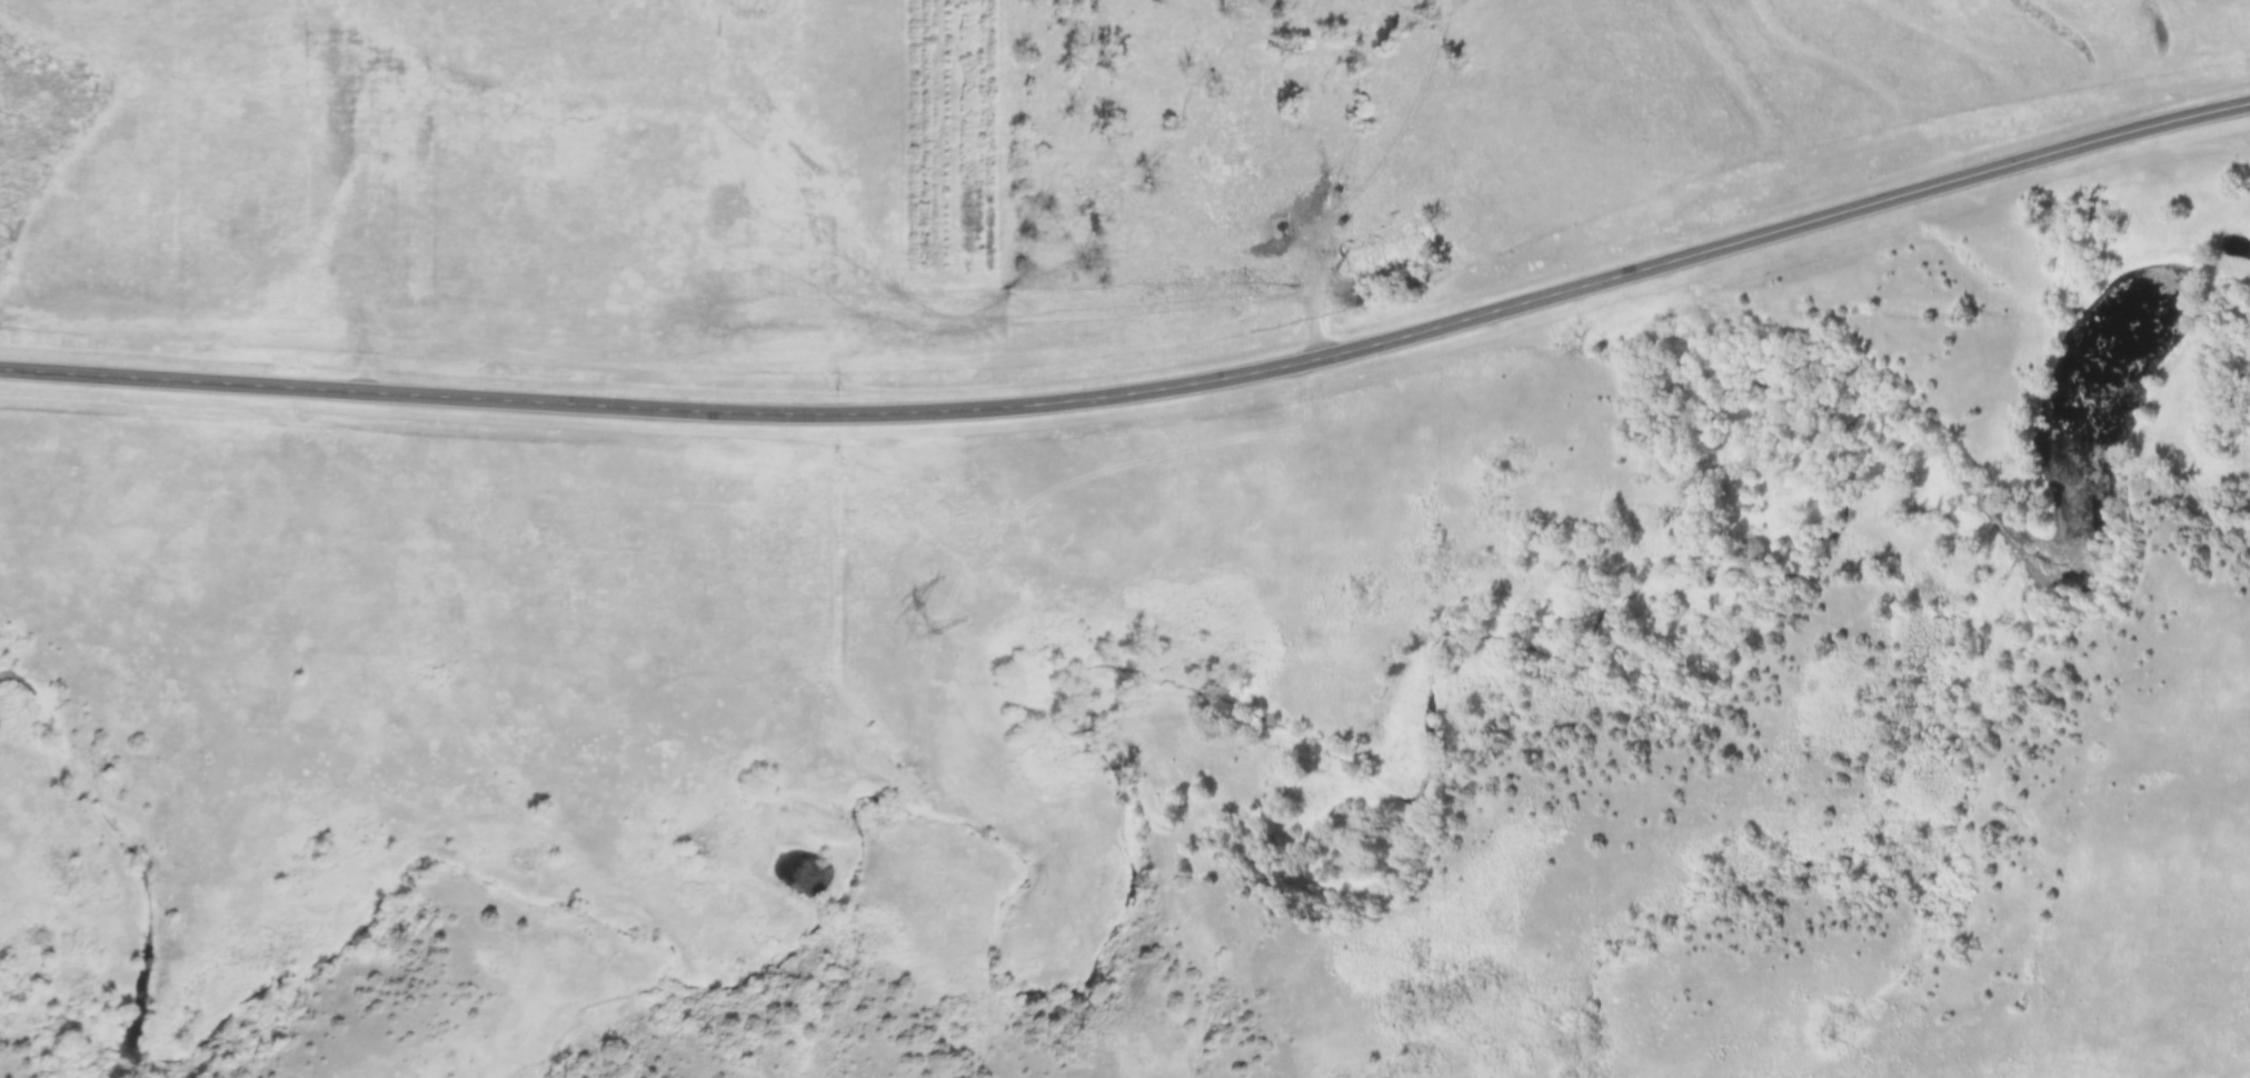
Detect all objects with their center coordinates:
road: (1142, 389)
power tower: (906, 616)

